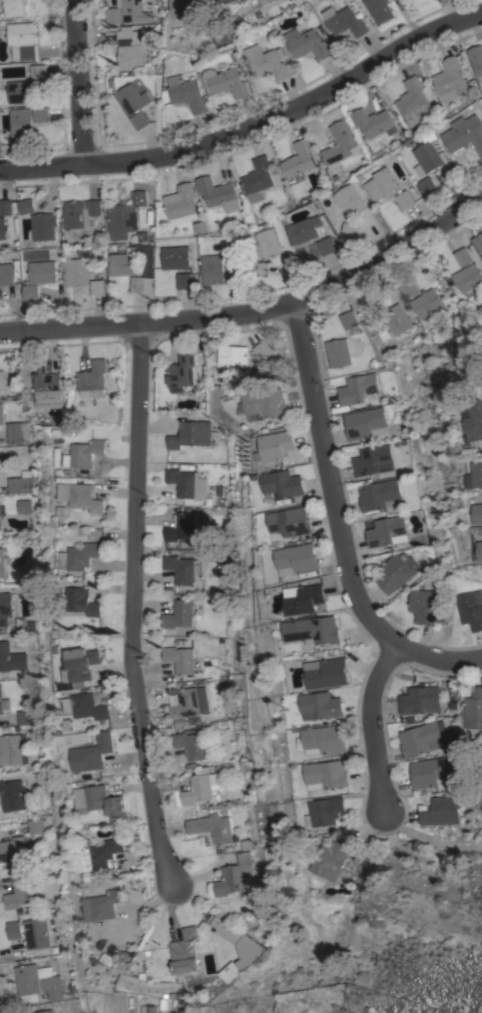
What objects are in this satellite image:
building: (218, 2)
building: (14, 8)
building: (184, 8)
building: (381, 10)
building: (129, 12)
building: (346, 21)
building: (22, 40)
building: (308, 44)
building: (129, 47)
building: (477, 60)
building: (268, 63)
building: (39, 71)
building: (449, 80)
road: (76, 82)
building: (228, 82)
building: (22, 91)
building: (185, 93)
building: (132, 99)
building: (414, 102)
building: (42, 114)
building: (139, 120)
building: (22, 122)
building: (372, 123)
road: (252, 126)
building: (464, 133)
building: (340, 143)
building: (428, 157)
building: (299, 159)
building: (257, 178)
building: (382, 184)
building: (427, 186)
building: (218, 193)
building: (405, 199)
building: (350, 200)
building: (180, 204)
building: (27, 206)
building: (5, 207)
building: (81, 213)
building: (125, 216)
building: (43, 226)
building: (3, 228)
building: (351, 230)
building: (303, 231)
building: (478, 241)
building: (267, 244)
building: (327, 245)
building: (175, 257)
building: (463, 257)
building: (125, 262)
building: (260, 268)
building: (213, 269)
building: (233, 269)
building: (42, 272)
building: (77, 272)
building: (6, 274)
building: (467, 277)
building: (183, 280)
building: (138, 284)
building: (97, 286)
building: (409, 288)
building: (31, 292)
building: (427, 304)
road: (252, 309)
building: (348, 319)
building: (396, 319)
building: (379, 327)
building: (338, 352)
building: (233, 356)
building: (184, 371)
building: (92, 379)
building: (2, 381)
building: (46, 386)
building: (357, 388)
building: (266, 403)
building: (1, 414)
building: (472, 418)
building: (365, 423)
building: (17, 432)
building: (190, 434)
building: (275, 446)
building: (85, 453)
building: (373, 461)
building: (474, 475)
building: (21, 482)
building: (283, 483)
building: (188, 486)
building: (378, 495)
building: (82, 496)
building: (24, 506)
building: (477, 513)
building: (1, 517)
building: (291, 521)
road: (339, 523)
building: (184, 526)
building: (387, 531)
building: (479, 550)
building: (80, 556)
building: (297, 559)
building: (2, 563)
building: (182, 568)
building: (397, 571)
building: (304, 599)
building: (80, 601)
building: (422, 604)
building: (5, 607)
building: (471, 609)
building: (179, 615)
road: (134, 622)
building: (313, 630)
building: (11, 658)
building: (180, 661)
building: (78, 663)
building: (327, 673)
building: (418, 700)
building: (3, 702)
building: (189, 702)
building: (322, 705)
building: (85, 706)
building: (473, 712)
building: (24, 717)
road: (374, 728)
building: (421, 738)
building: (325, 740)
building: (190, 744)
building: (11, 750)
building: (91, 752)
building: (428, 771)
building: (329, 774)
building: (200, 786)
building: (11, 795)
building: (98, 801)
building: (439, 811)
building: (329, 812)
building: (35, 826)
building: (213, 828)
road: (429, 841)
building: (12, 849)
building: (102, 855)
building: (332, 859)
building: (235, 876)
building: (21, 891)
building: (104, 904)
building: (14, 929)
building: (226, 930)
building: (36, 933)
building: (186, 952)
building: (233, 970)
building: (37, 983)
building: (149, 1007)
building: (44, 1011)

